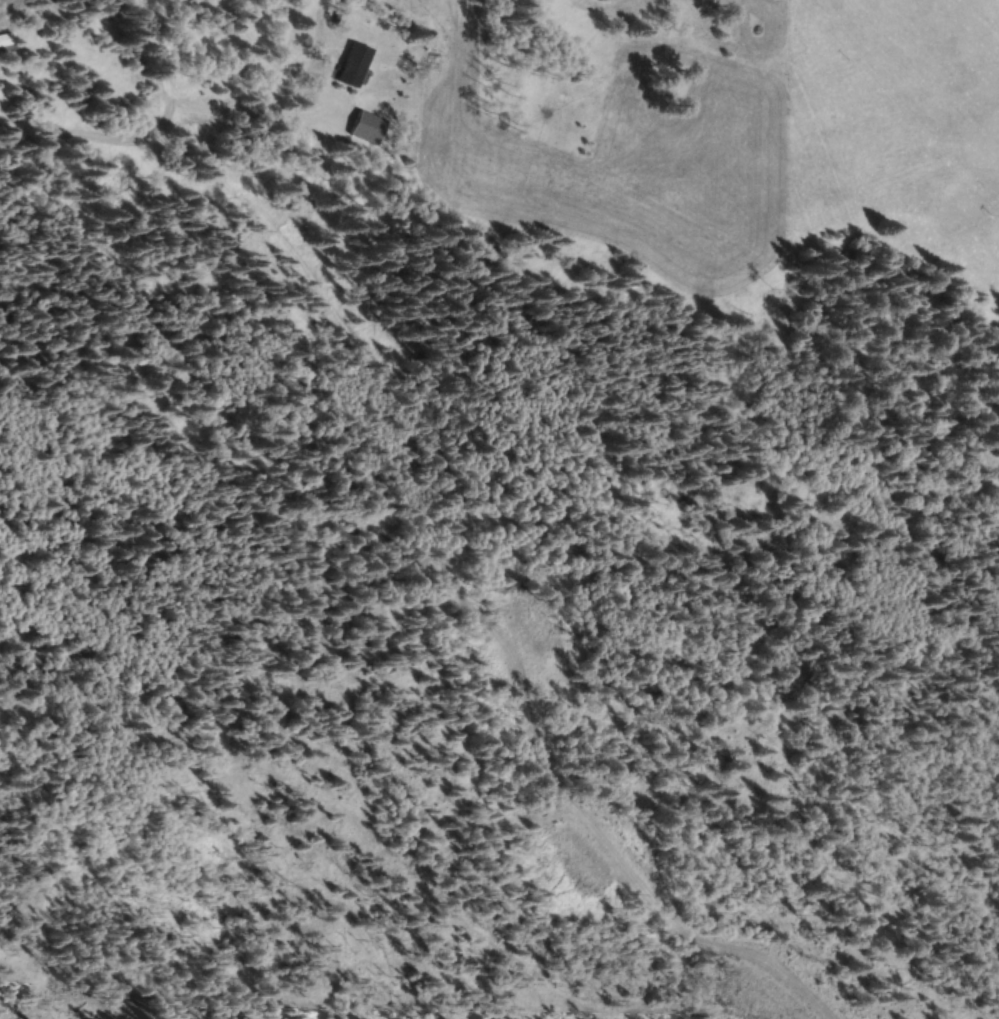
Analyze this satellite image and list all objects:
building: (8, 39)
building: (356, 64)
building: (368, 128)
road: (155, 140)

